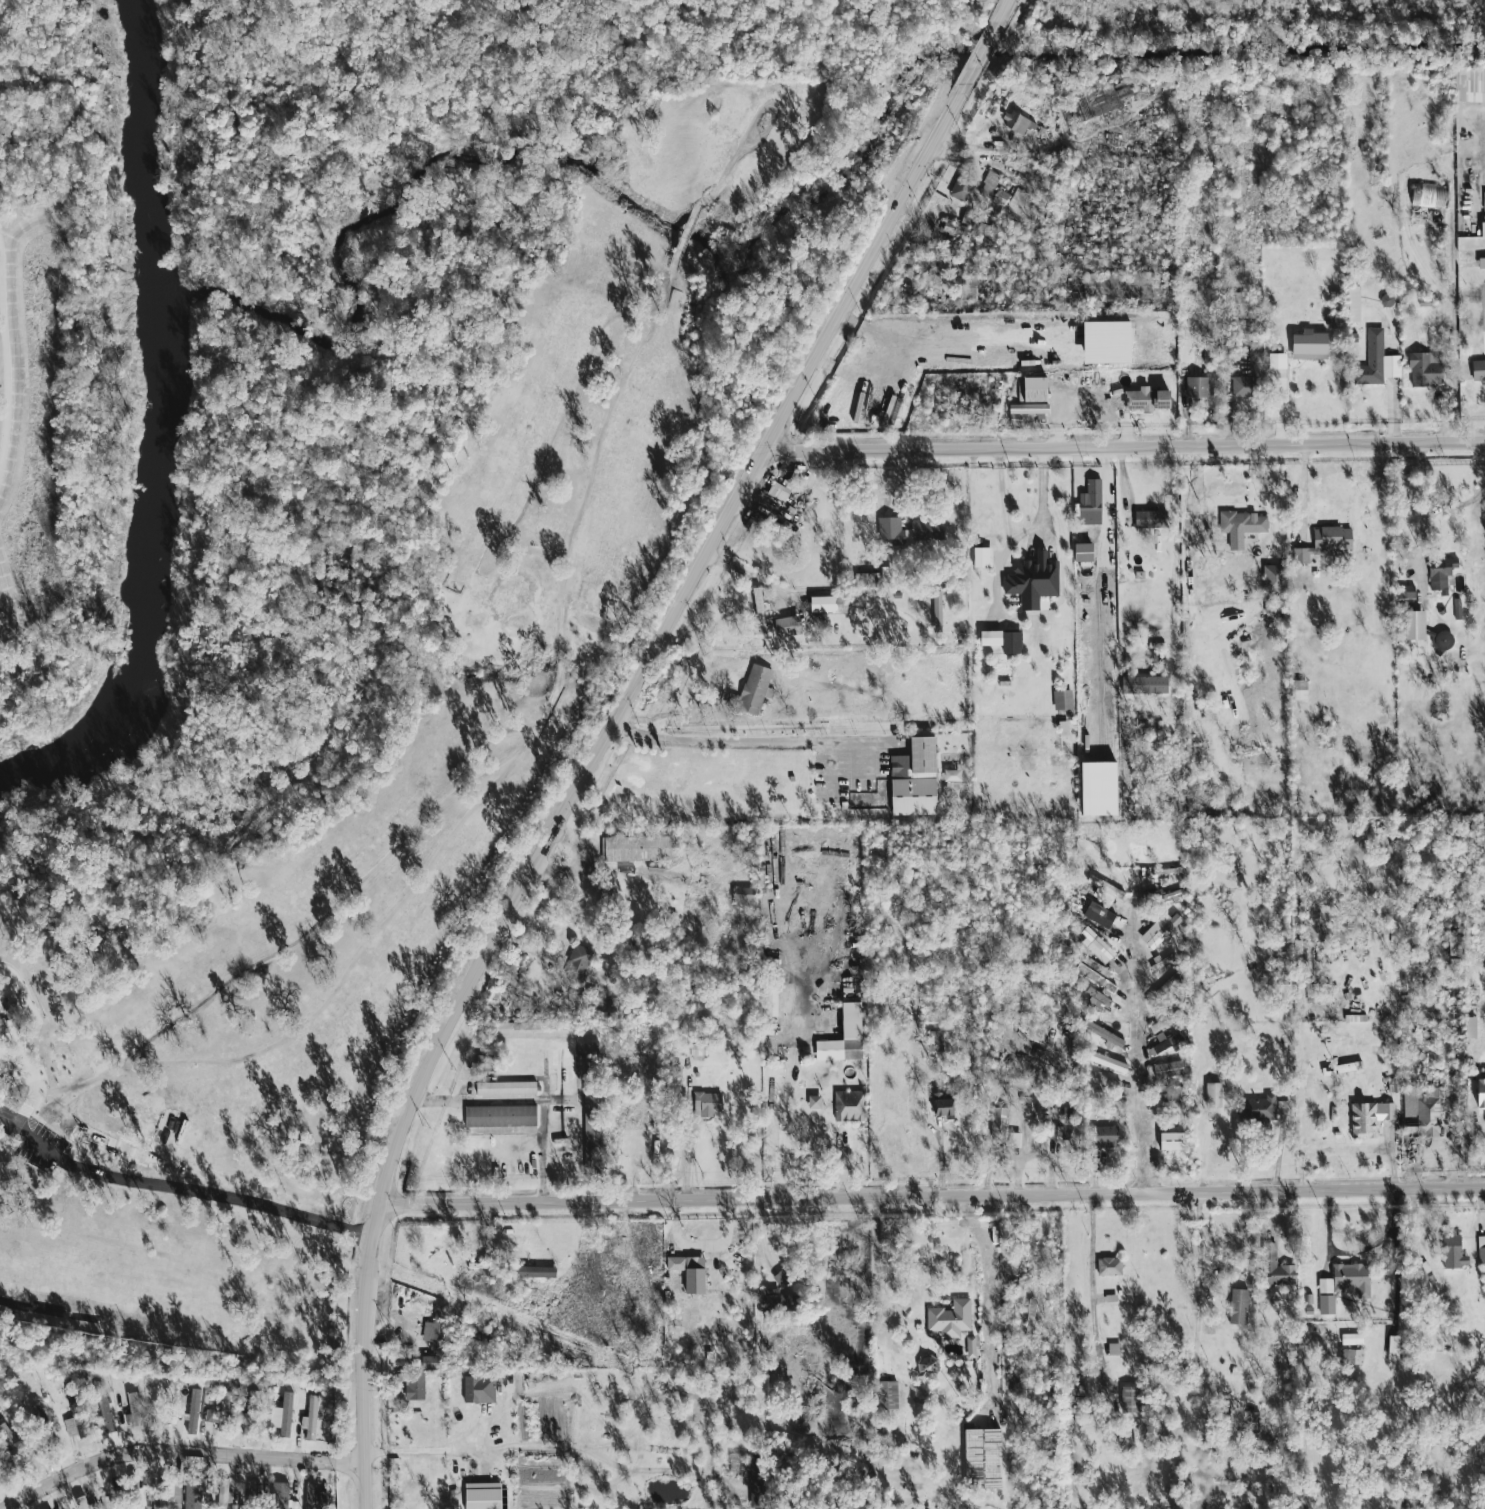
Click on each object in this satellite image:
road: (1001, 15)
road: (978, 61)
building: (1468, 84)
building: (1097, 101)
building: (1016, 123)
building: (988, 185)
building: (959, 188)
building: (1425, 196)
building: (999, 199)
building: (1018, 203)
building: (956, 227)
building: (1481, 229)
building: (1480, 263)
building: (1123, 286)
building: (1351, 304)
road: (1463, 322)
building: (1306, 345)
building: (1275, 361)
building: (1375, 362)
building: (1420, 371)
building: (1477, 371)
road: (2, 372)
building: (1240, 387)
building: (1195, 388)
building: (1029, 389)
building: (1144, 400)
building: (1025, 411)
river: (160, 430)
road: (1125, 446)
road: (1042, 493)
road: (1302, 493)
building: (776, 494)
road: (1430, 500)
building: (1087, 504)
building: (1147, 519)
building: (1240, 523)
building: (905, 531)
building: (1322, 543)
building: (1079, 553)
building: (980, 558)
road: (1176, 566)
building: (1438, 573)
road: (749, 578)
building: (1268, 579)
building: (1030, 581)
building: (1403, 592)
building: (755, 602)
building: (822, 604)
park: (329, 609)
building: (935, 612)
building: (1412, 626)
building: (1000, 641)
building: (1440, 642)
building: (1141, 685)
building: (749, 694)
building: (1061, 700)
building: (1061, 729)
road: (745, 740)
road: (585, 777)
building: (910, 780)
road: (500, 816)
building: (632, 849)
building: (1103, 891)
building: (740, 897)
building: (1157, 934)
building: (1095, 946)
building: (1451, 947)
building: (577, 965)
building: (1094, 974)
building: (1094, 997)
road: (31, 1008)
building: (0, 1011)
building: (1469, 1028)
building: (1101, 1034)
building: (841, 1037)
building: (931, 1040)
building: (1103, 1061)
building: (481, 1063)
building: (1166, 1070)
road: (1147, 1074)
road: (35, 1080)
building: (1102, 1081)
building: (503, 1088)
building: (1211, 1089)
building: (1479, 1092)
road: (527, 1100)
building: (706, 1104)
building: (938, 1105)
building: (847, 1106)
road: (782, 1108)
building: (1256, 1108)
building: (1282, 1110)
building: (1419, 1114)
building: (497, 1116)
building: (997, 1117)
building: (1367, 1118)
building: (1102, 1138)
building: (589, 1139)
road: (833, 1139)
building: (1013, 1140)
building: (1168, 1142)
road: (183, 1189)
road: (933, 1196)
road: (1198, 1250)
building: (1480, 1250)
road: (1353, 1253)
building: (1450, 1253)
building: (1106, 1267)
building: (692, 1270)
building: (529, 1272)
building: (1275, 1272)
building: (1421, 1278)
building: (1345, 1280)
road: (878, 1286)
building: (769, 1301)
road: (985, 1301)
road: (1093, 1301)
building: (1324, 1305)
building: (1236, 1307)
building: (1028, 1314)
building: (948, 1320)
building: (430, 1335)
building: (1350, 1339)
building: (969, 1347)
building: (1390, 1348)
building: (1112, 1350)
building: (1349, 1357)
building: (425, 1362)
building: (411, 1386)
building: (476, 1389)
building: (1126, 1400)
building: (883, 1402)
building: (101, 1407)
building: (220, 1408)
building: (190, 1411)
building: (283, 1415)
building: (129, 1417)
building: (308, 1419)
building: (160, 1420)
building: (69, 1426)
building: (6, 1438)
road: (430, 1447)
road: (176, 1451)
building: (980, 1457)
building: (250, 1488)
building: (193, 1493)
building: (220, 1493)
building: (276, 1495)
building: (479, 1496)
building: (312, 1498)
building: (154, 1499)
building: (79, 1502)
building: (102, 1502)

